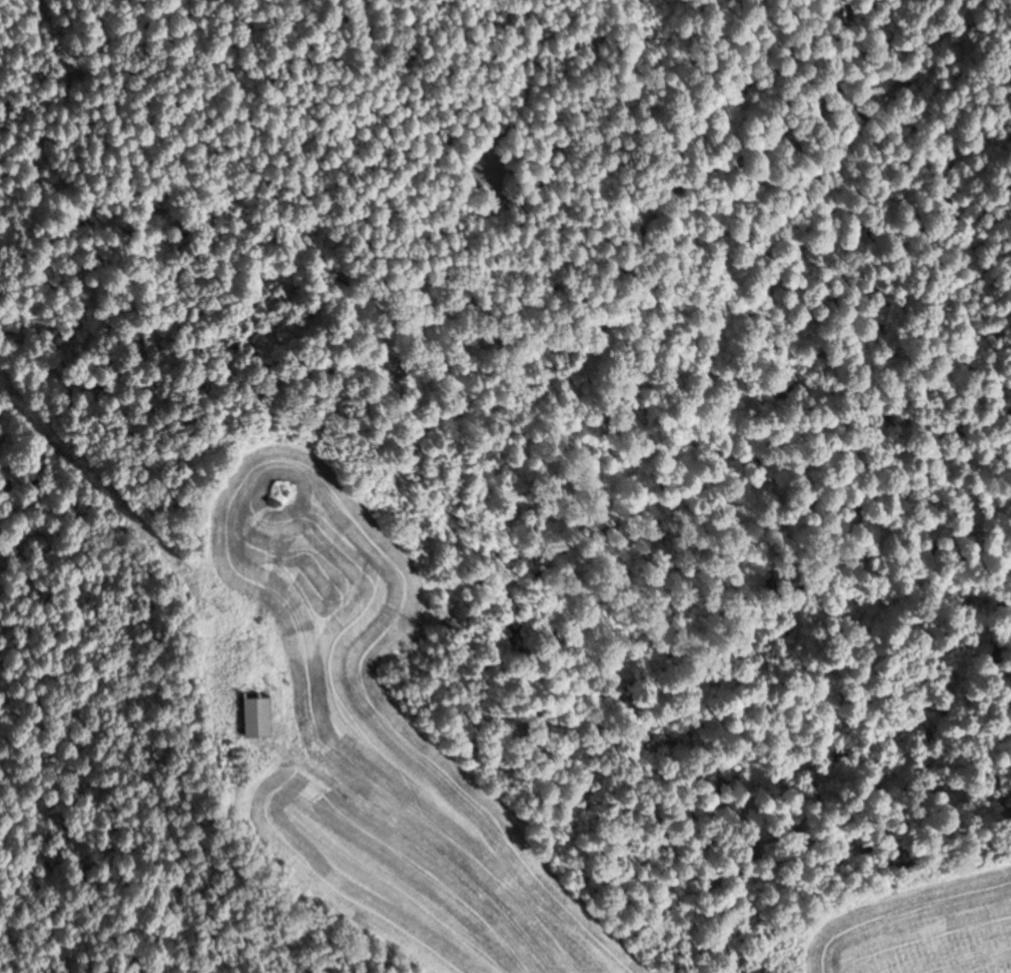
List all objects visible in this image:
road: (425, 845)

